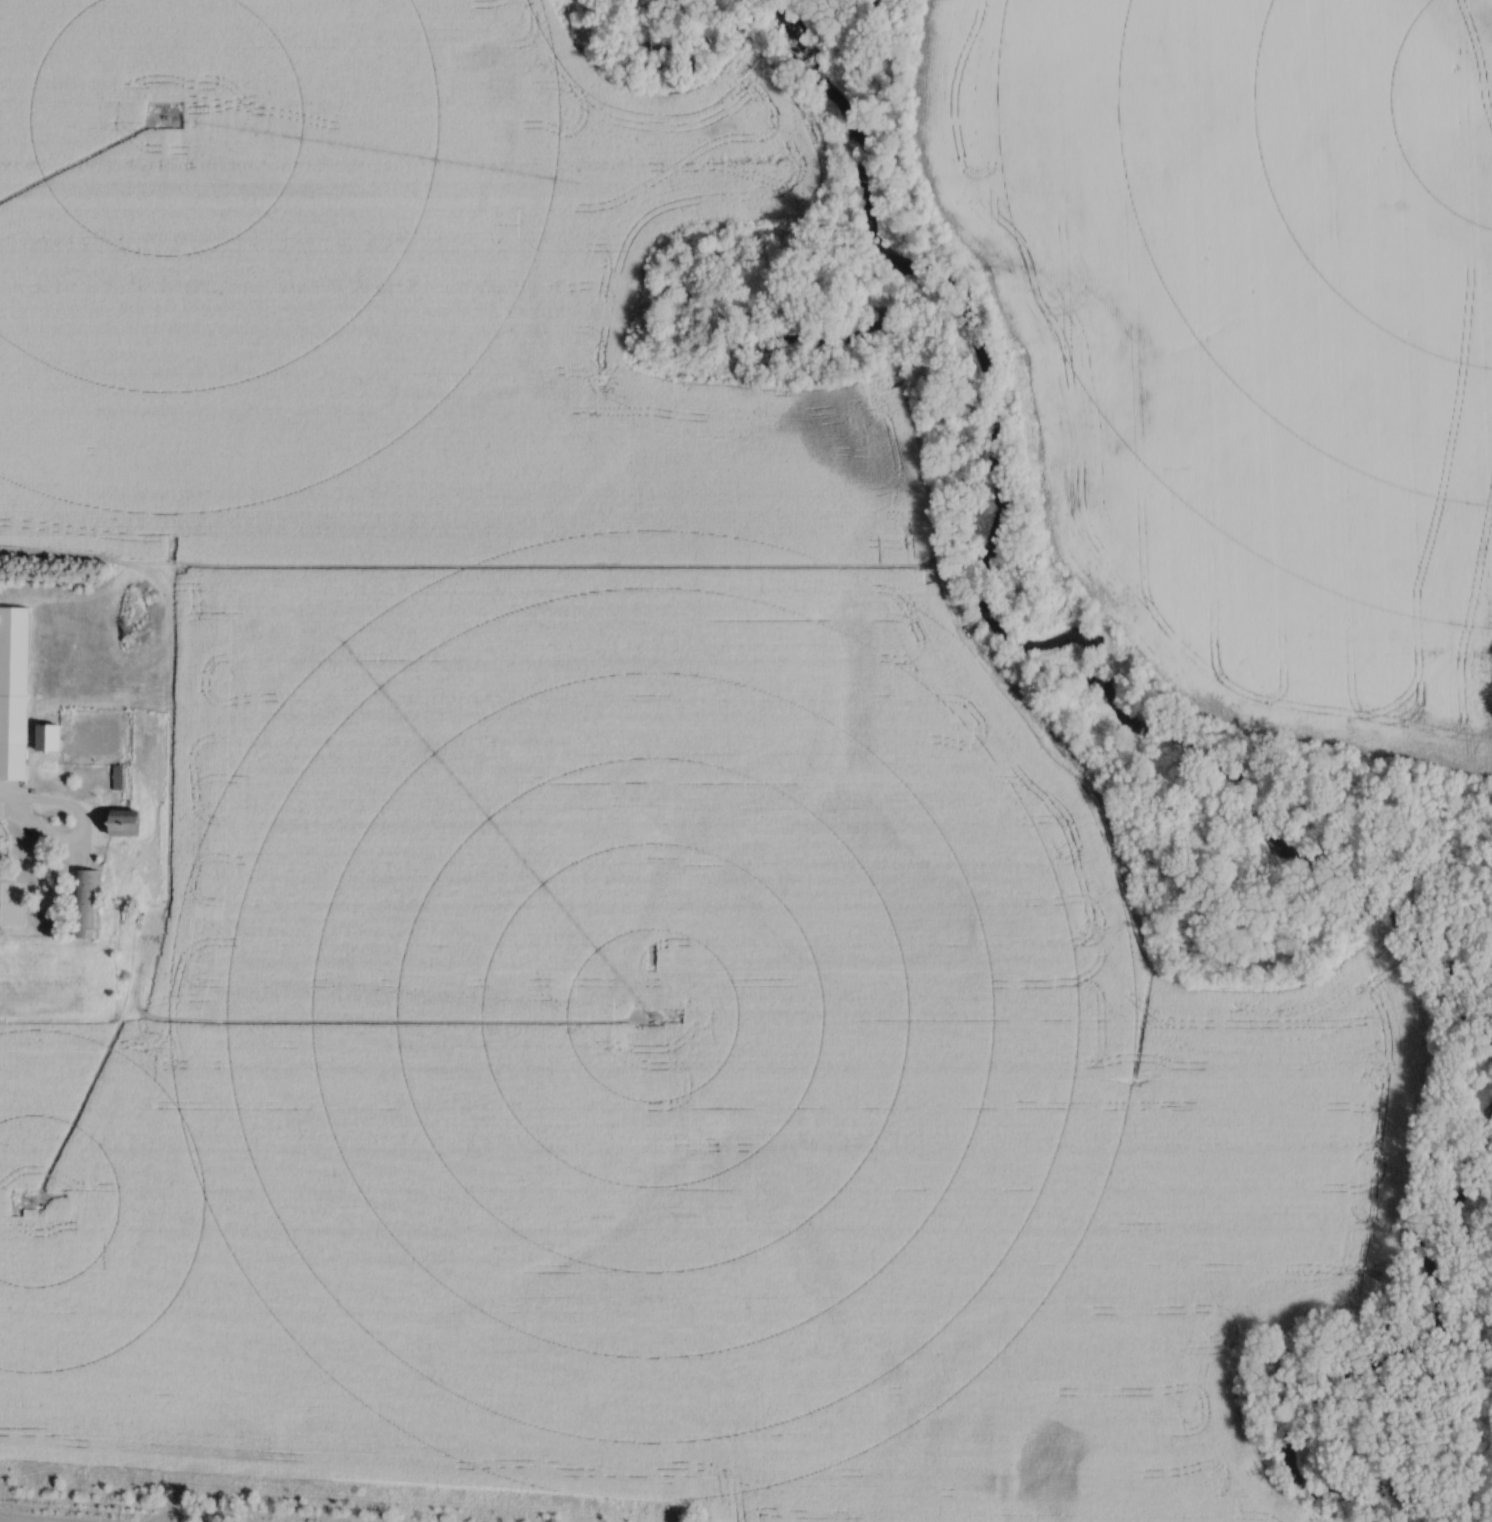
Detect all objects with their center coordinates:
river: (979, 552)
building: (14, 694)
building: (50, 740)
road: (7, 811)
building: (125, 825)
building: (4, 843)
building: (87, 906)
river: (1421, 1222)
river: (1483, 1451)

